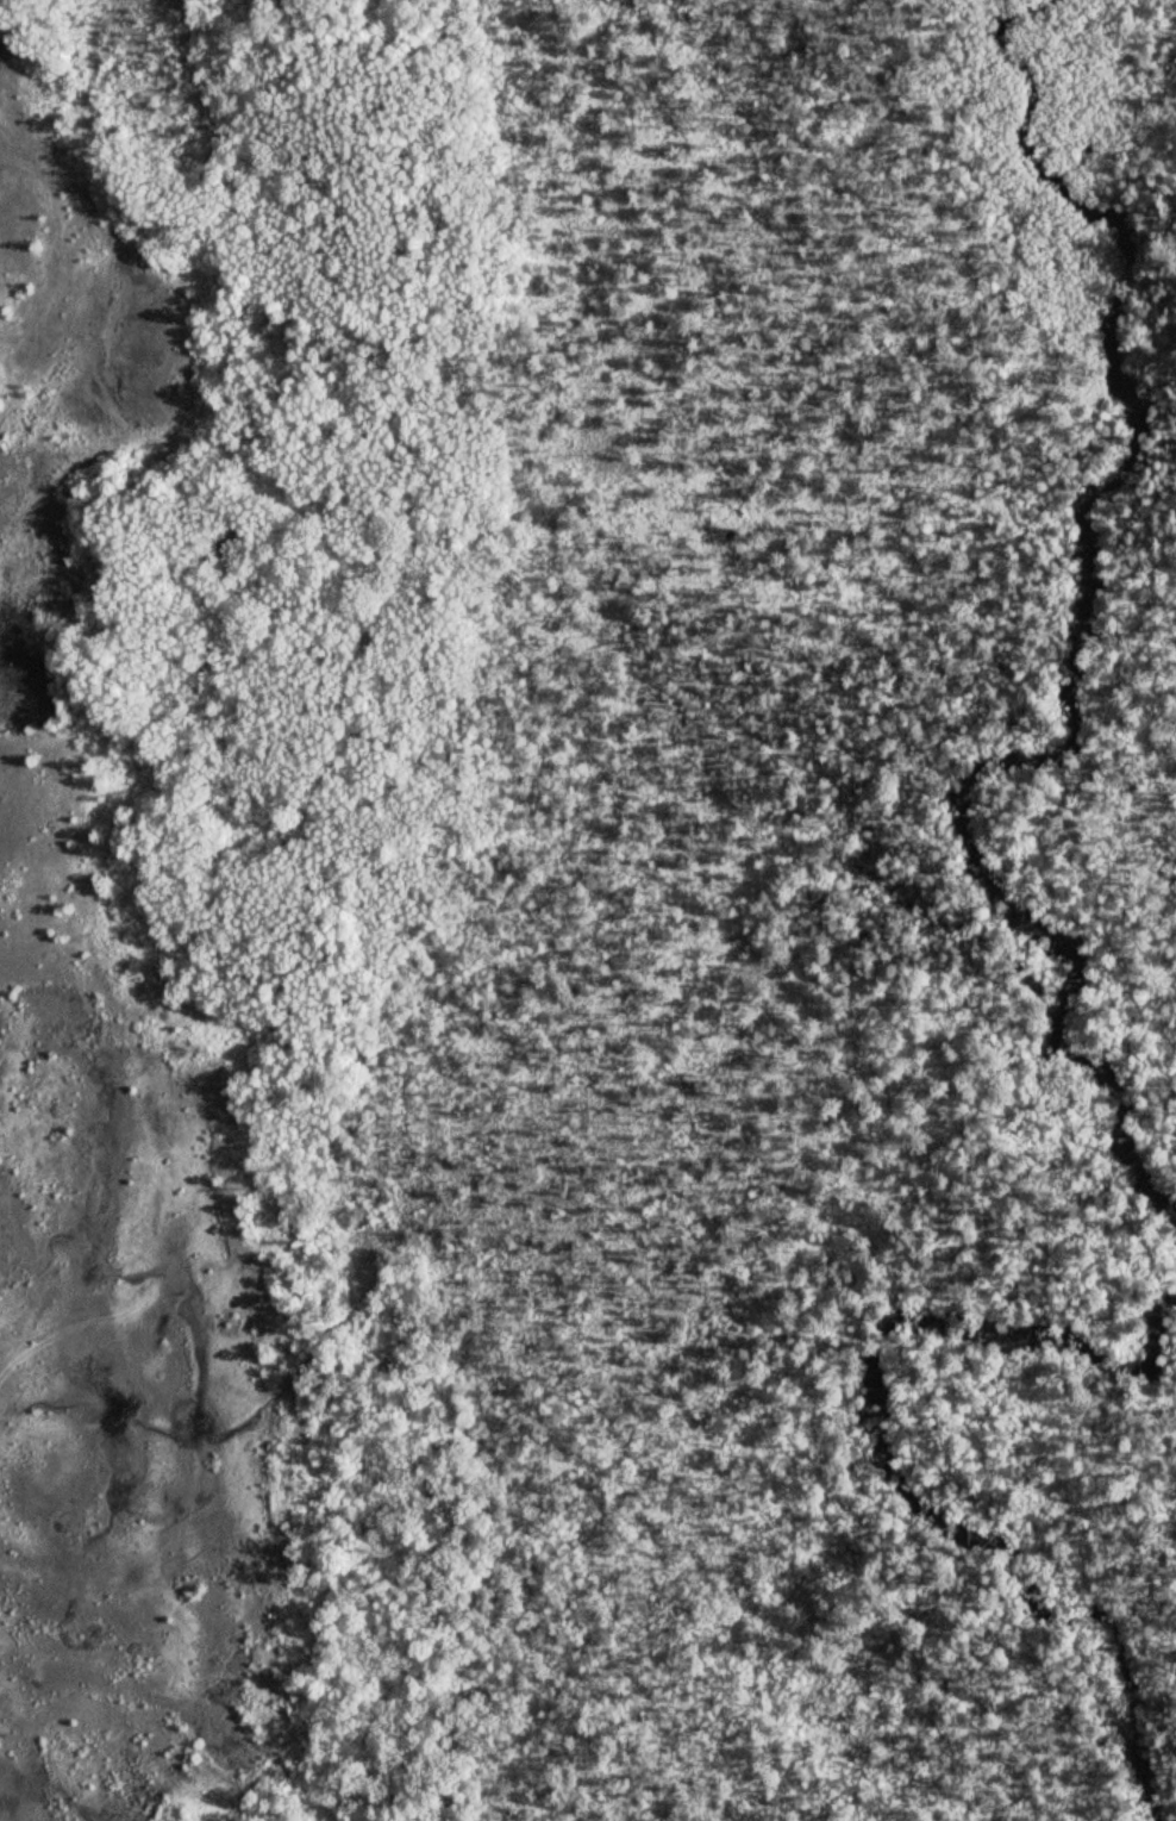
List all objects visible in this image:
river: (1084, 611)
river: (889, 1470)

